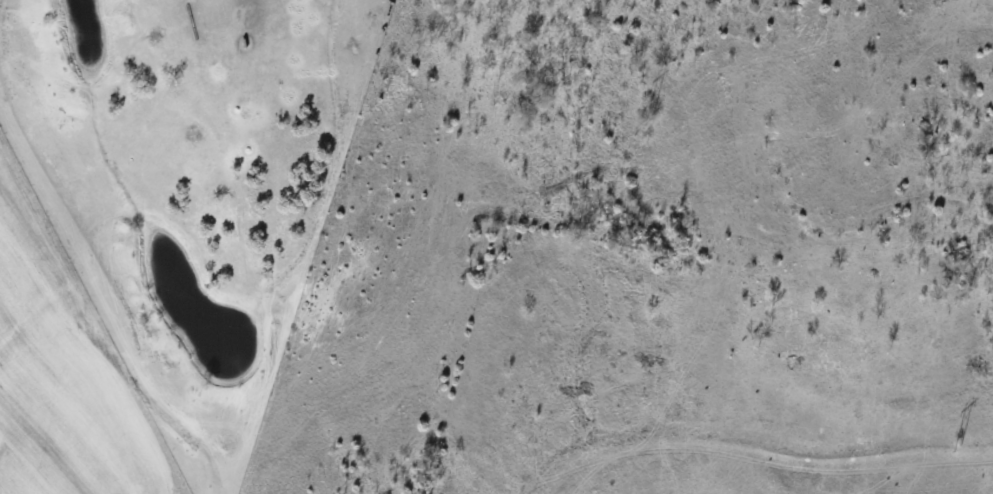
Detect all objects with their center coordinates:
power tower: (647, 120)
power tower: (957, 446)

